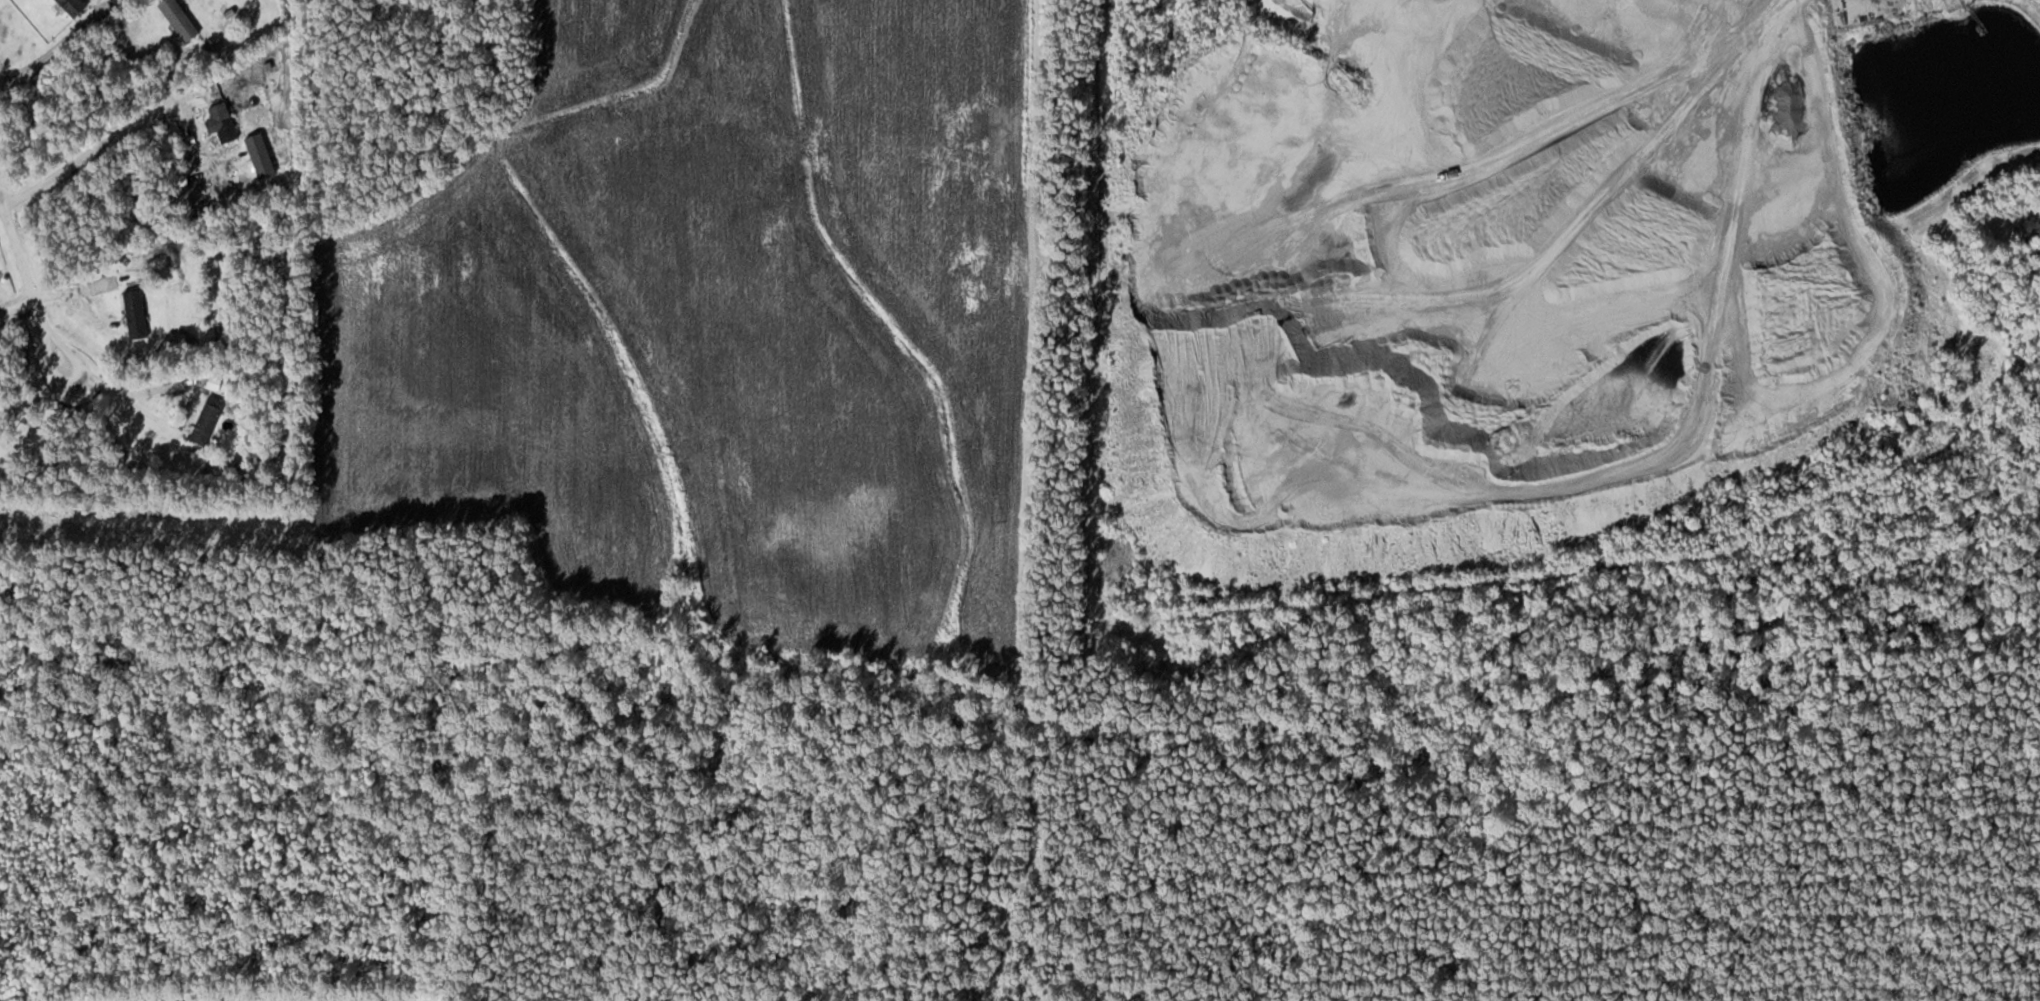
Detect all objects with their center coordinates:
building: (120, 1)
building: (76, 6)
building: (182, 19)
building: (223, 122)
quarry: (1519, 261)
road: (30, 291)
building: (138, 314)
crop: (720, 342)
building: (210, 420)

